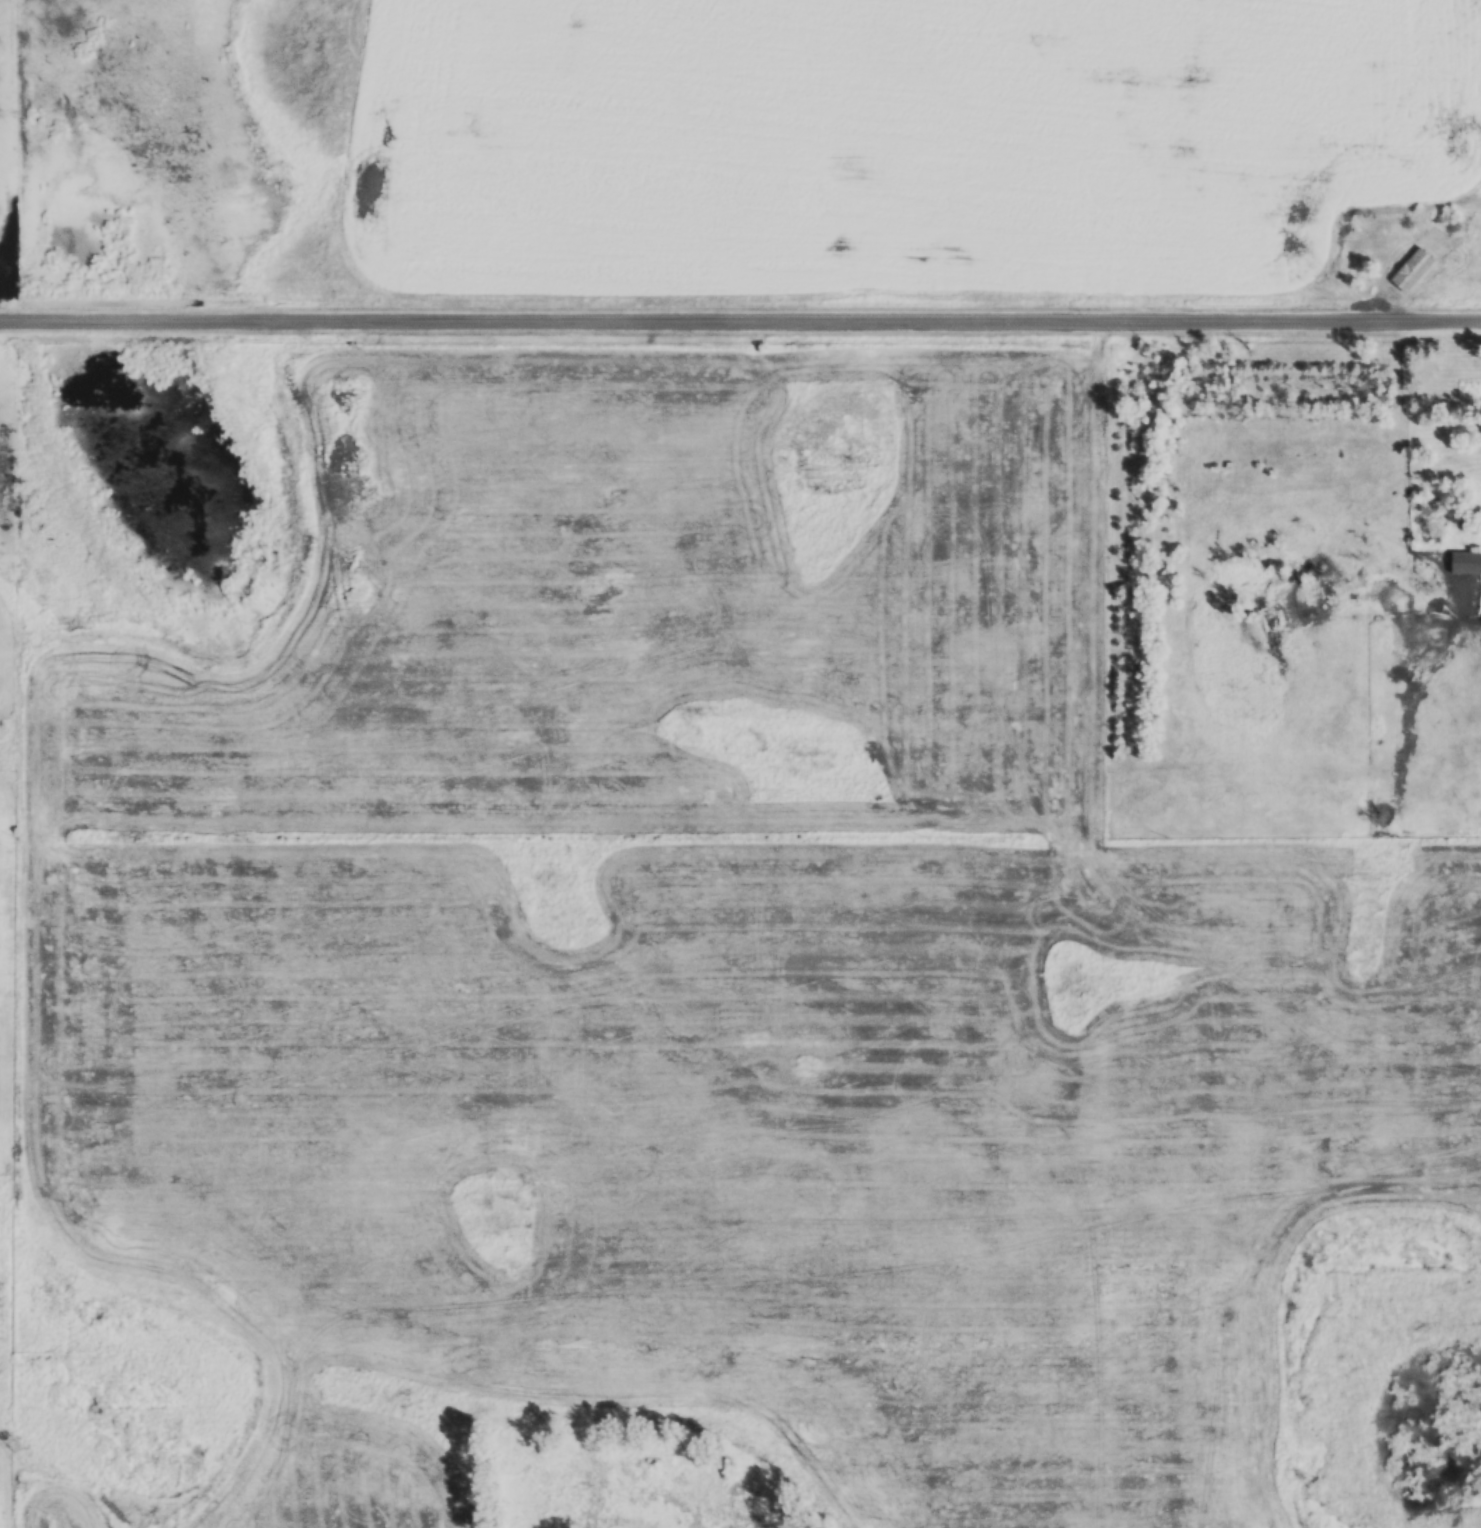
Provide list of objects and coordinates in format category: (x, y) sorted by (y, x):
road: (740, 325)
building: (1468, 389)
building: (1465, 562)

